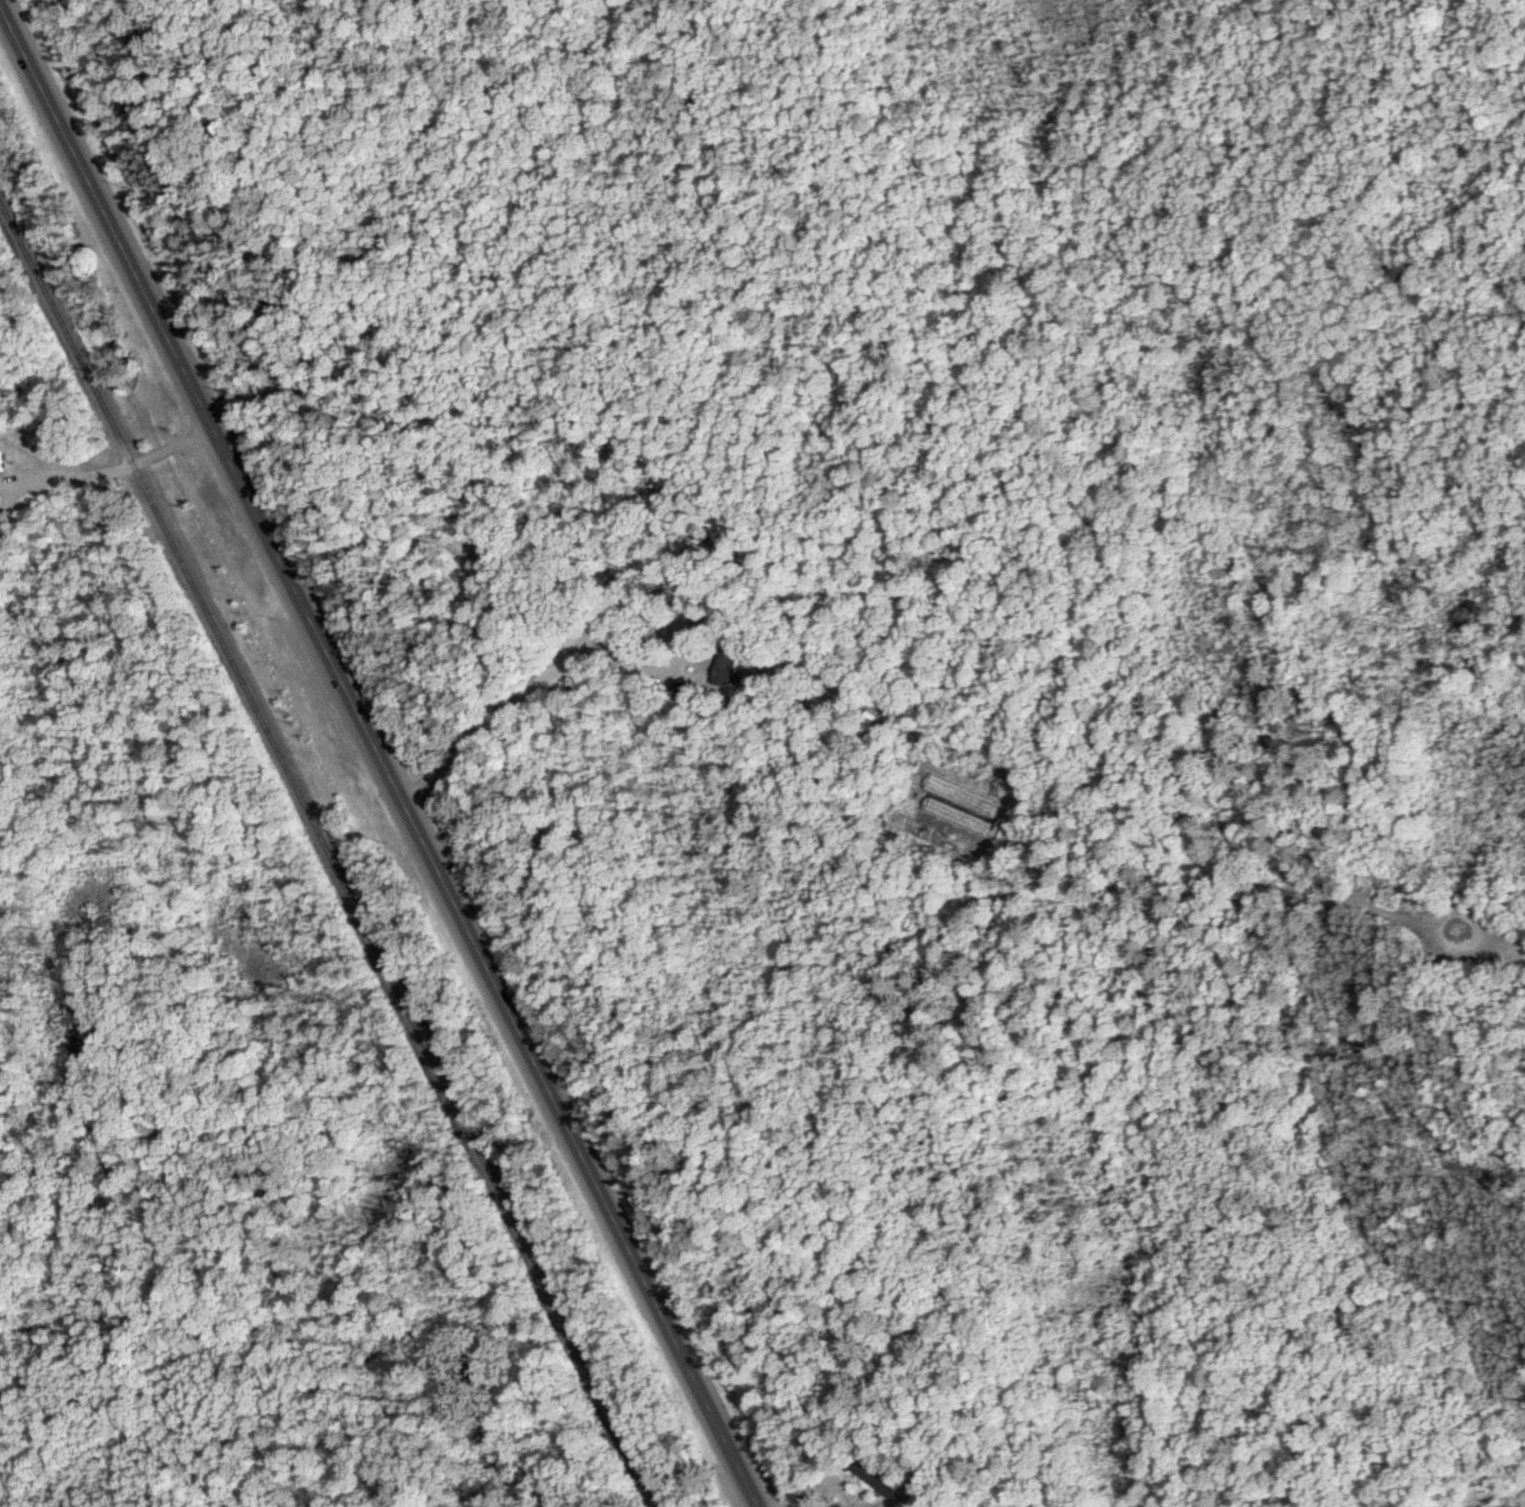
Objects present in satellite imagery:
building: (5, 463)
building: (733, 663)
building: (687, 691)
road: (383, 753)
railway: (331, 858)

